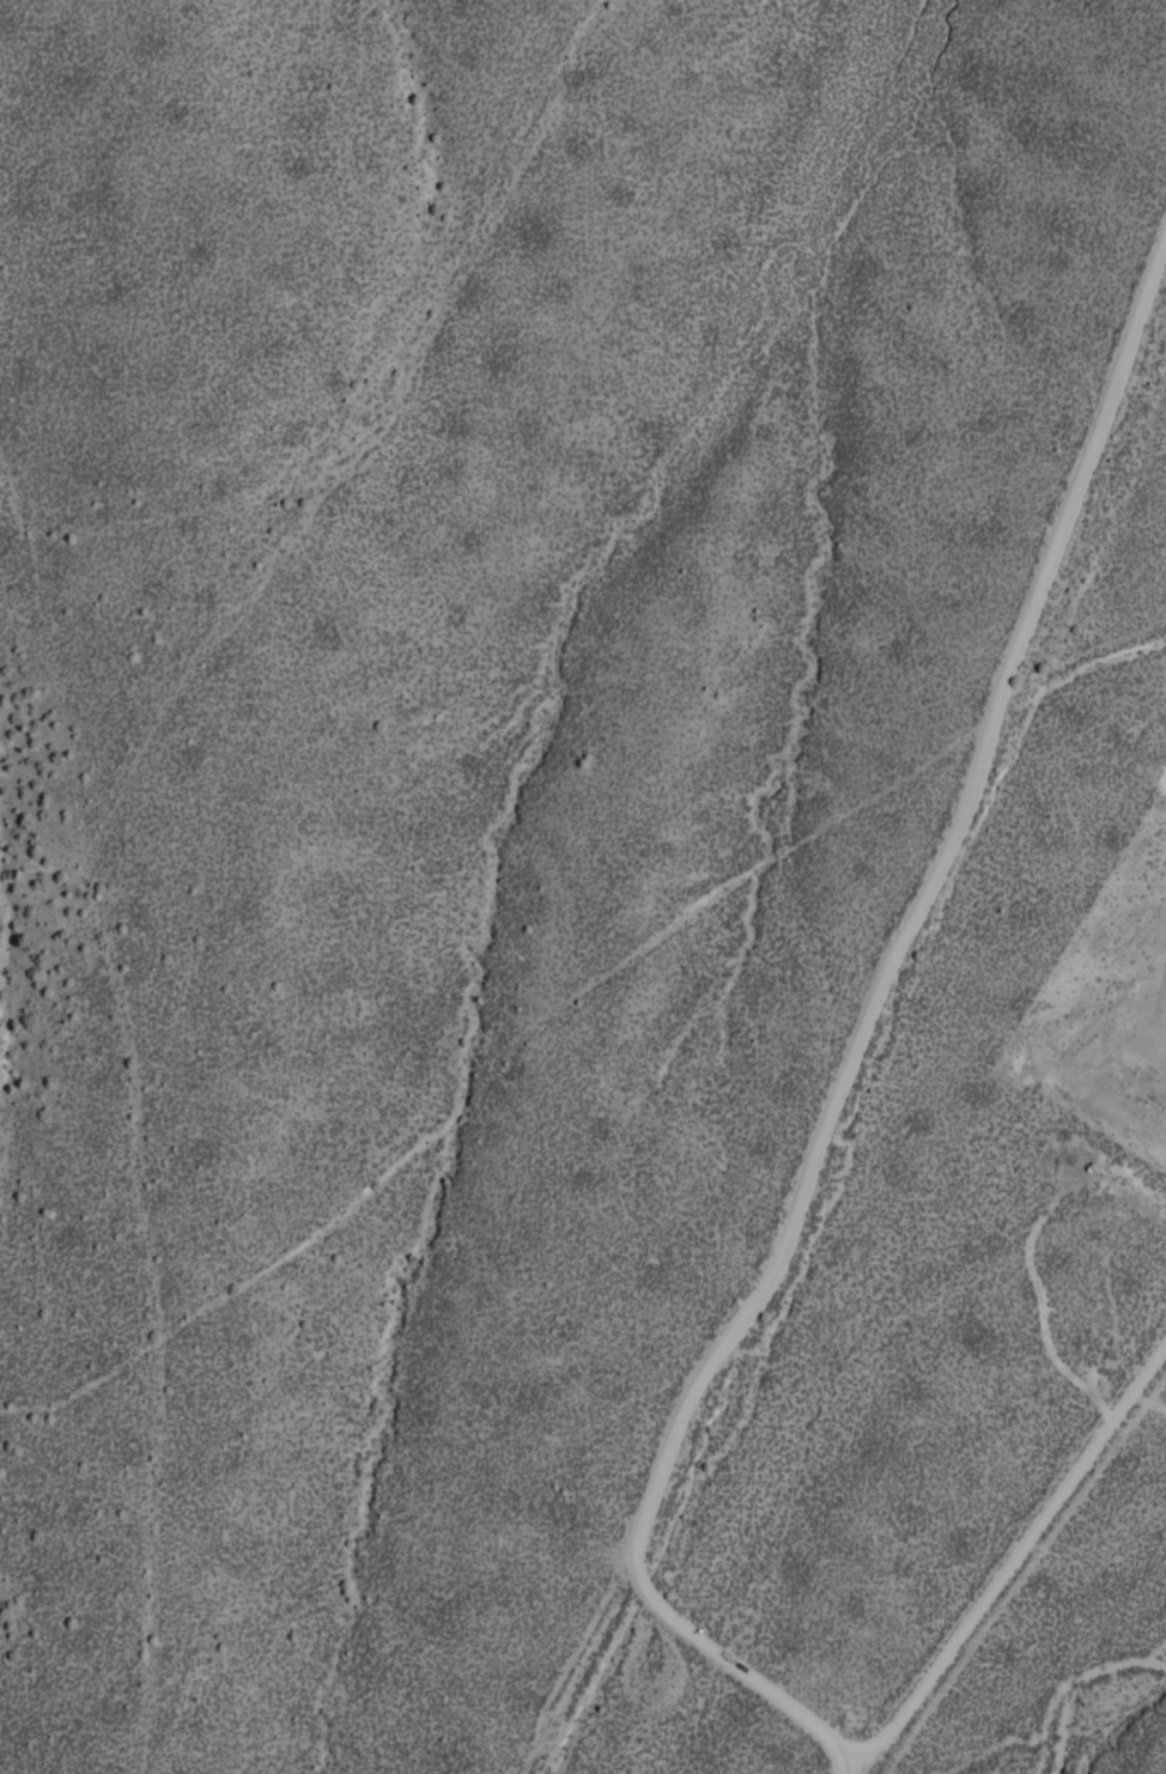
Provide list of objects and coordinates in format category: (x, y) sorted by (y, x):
road: (852, 1061)
road: (1015, 1563)

